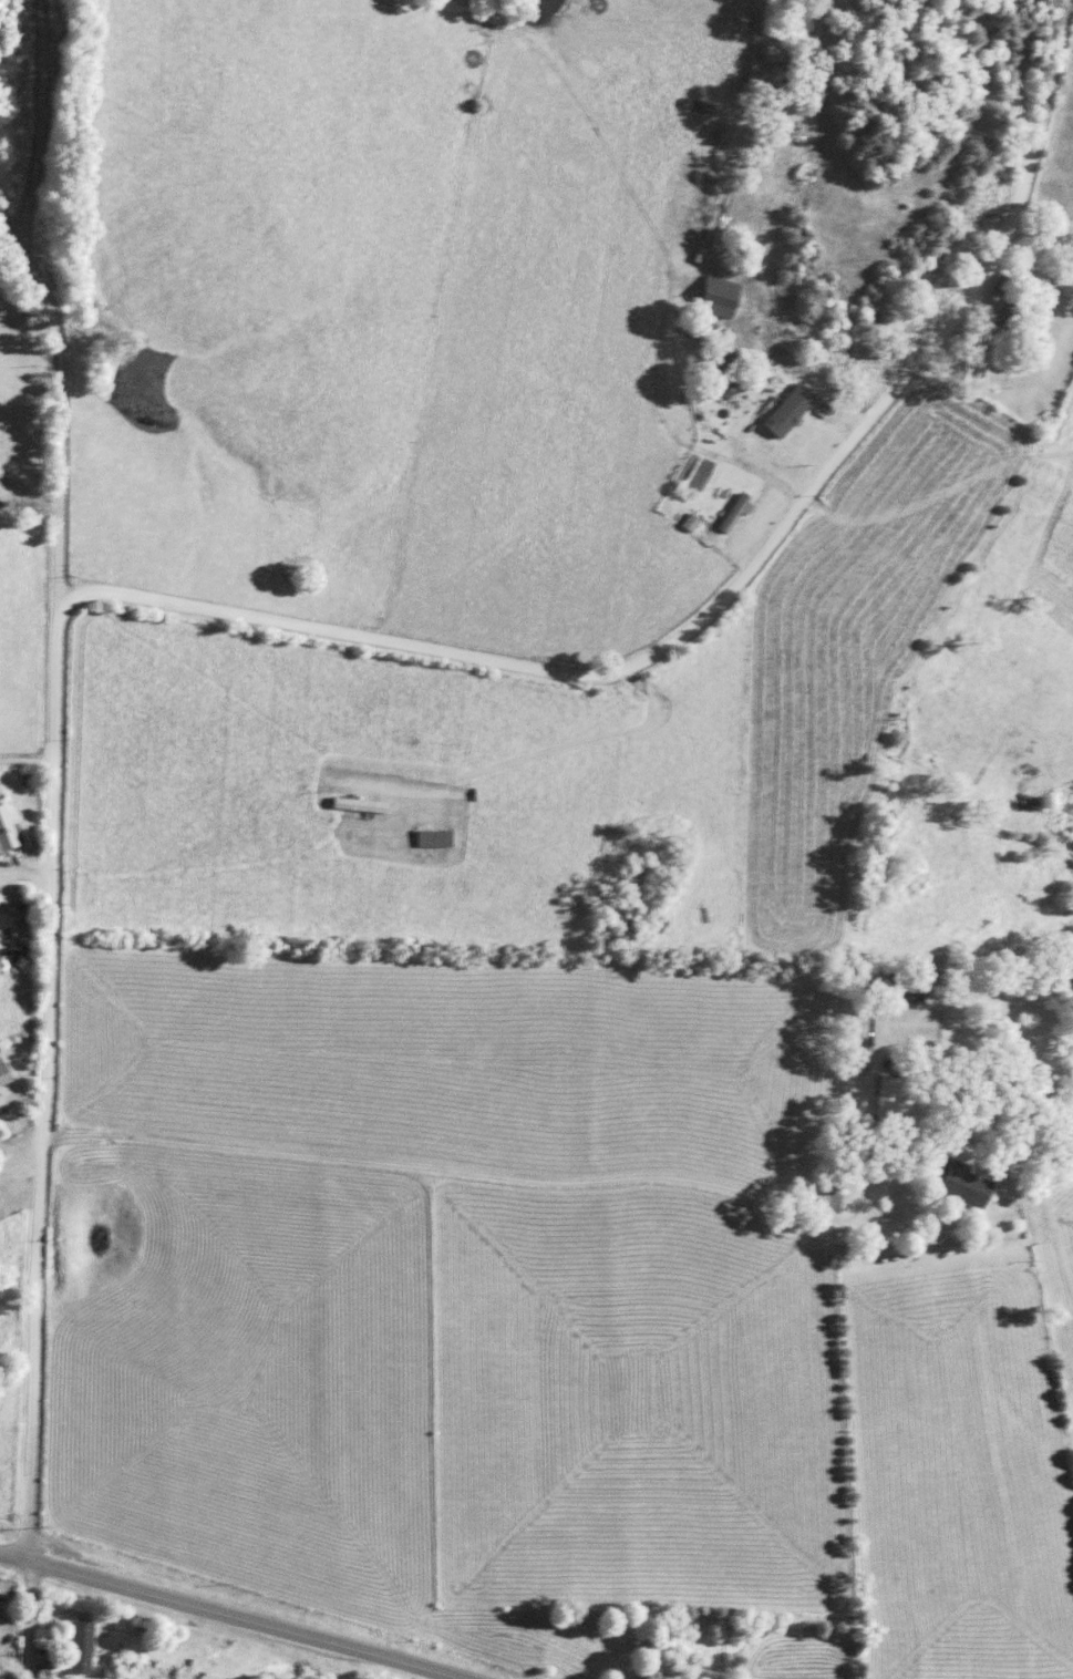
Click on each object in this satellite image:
road: (8, 240)
road: (25, 264)
building: (708, 295)
building: (718, 387)
building: (780, 410)
building: (726, 512)
road: (56, 525)
road: (724, 596)
road: (27, 760)
building: (8, 832)
road: (27, 876)
building: (898, 986)
building: (3, 1075)
road: (45, 1079)
building: (879, 1102)
road: (19, 1157)
road: (557, 1182)
building: (955, 1185)
road: (759, 1507)
road: (14, 1555)
road: (23, 1618)
road: (247, 1618)
building: (80, 1647)

